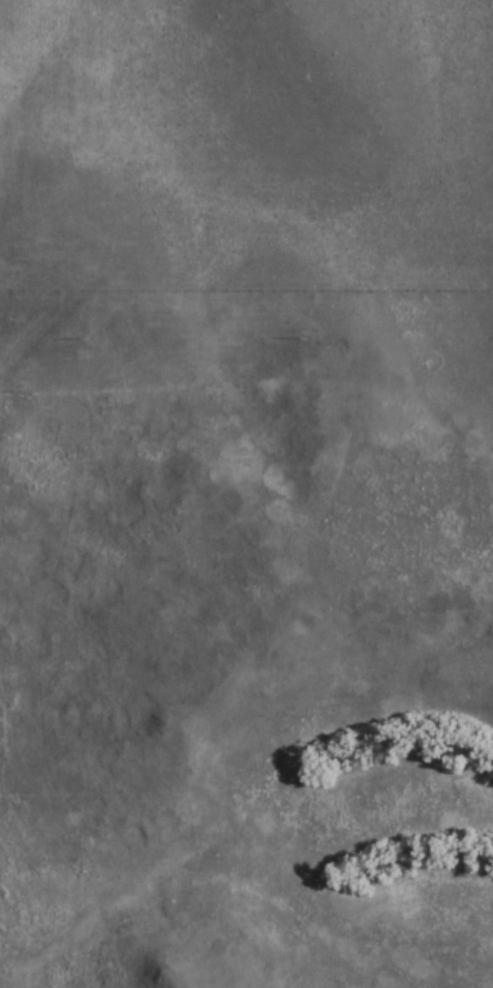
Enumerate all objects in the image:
road: (207, 878)

